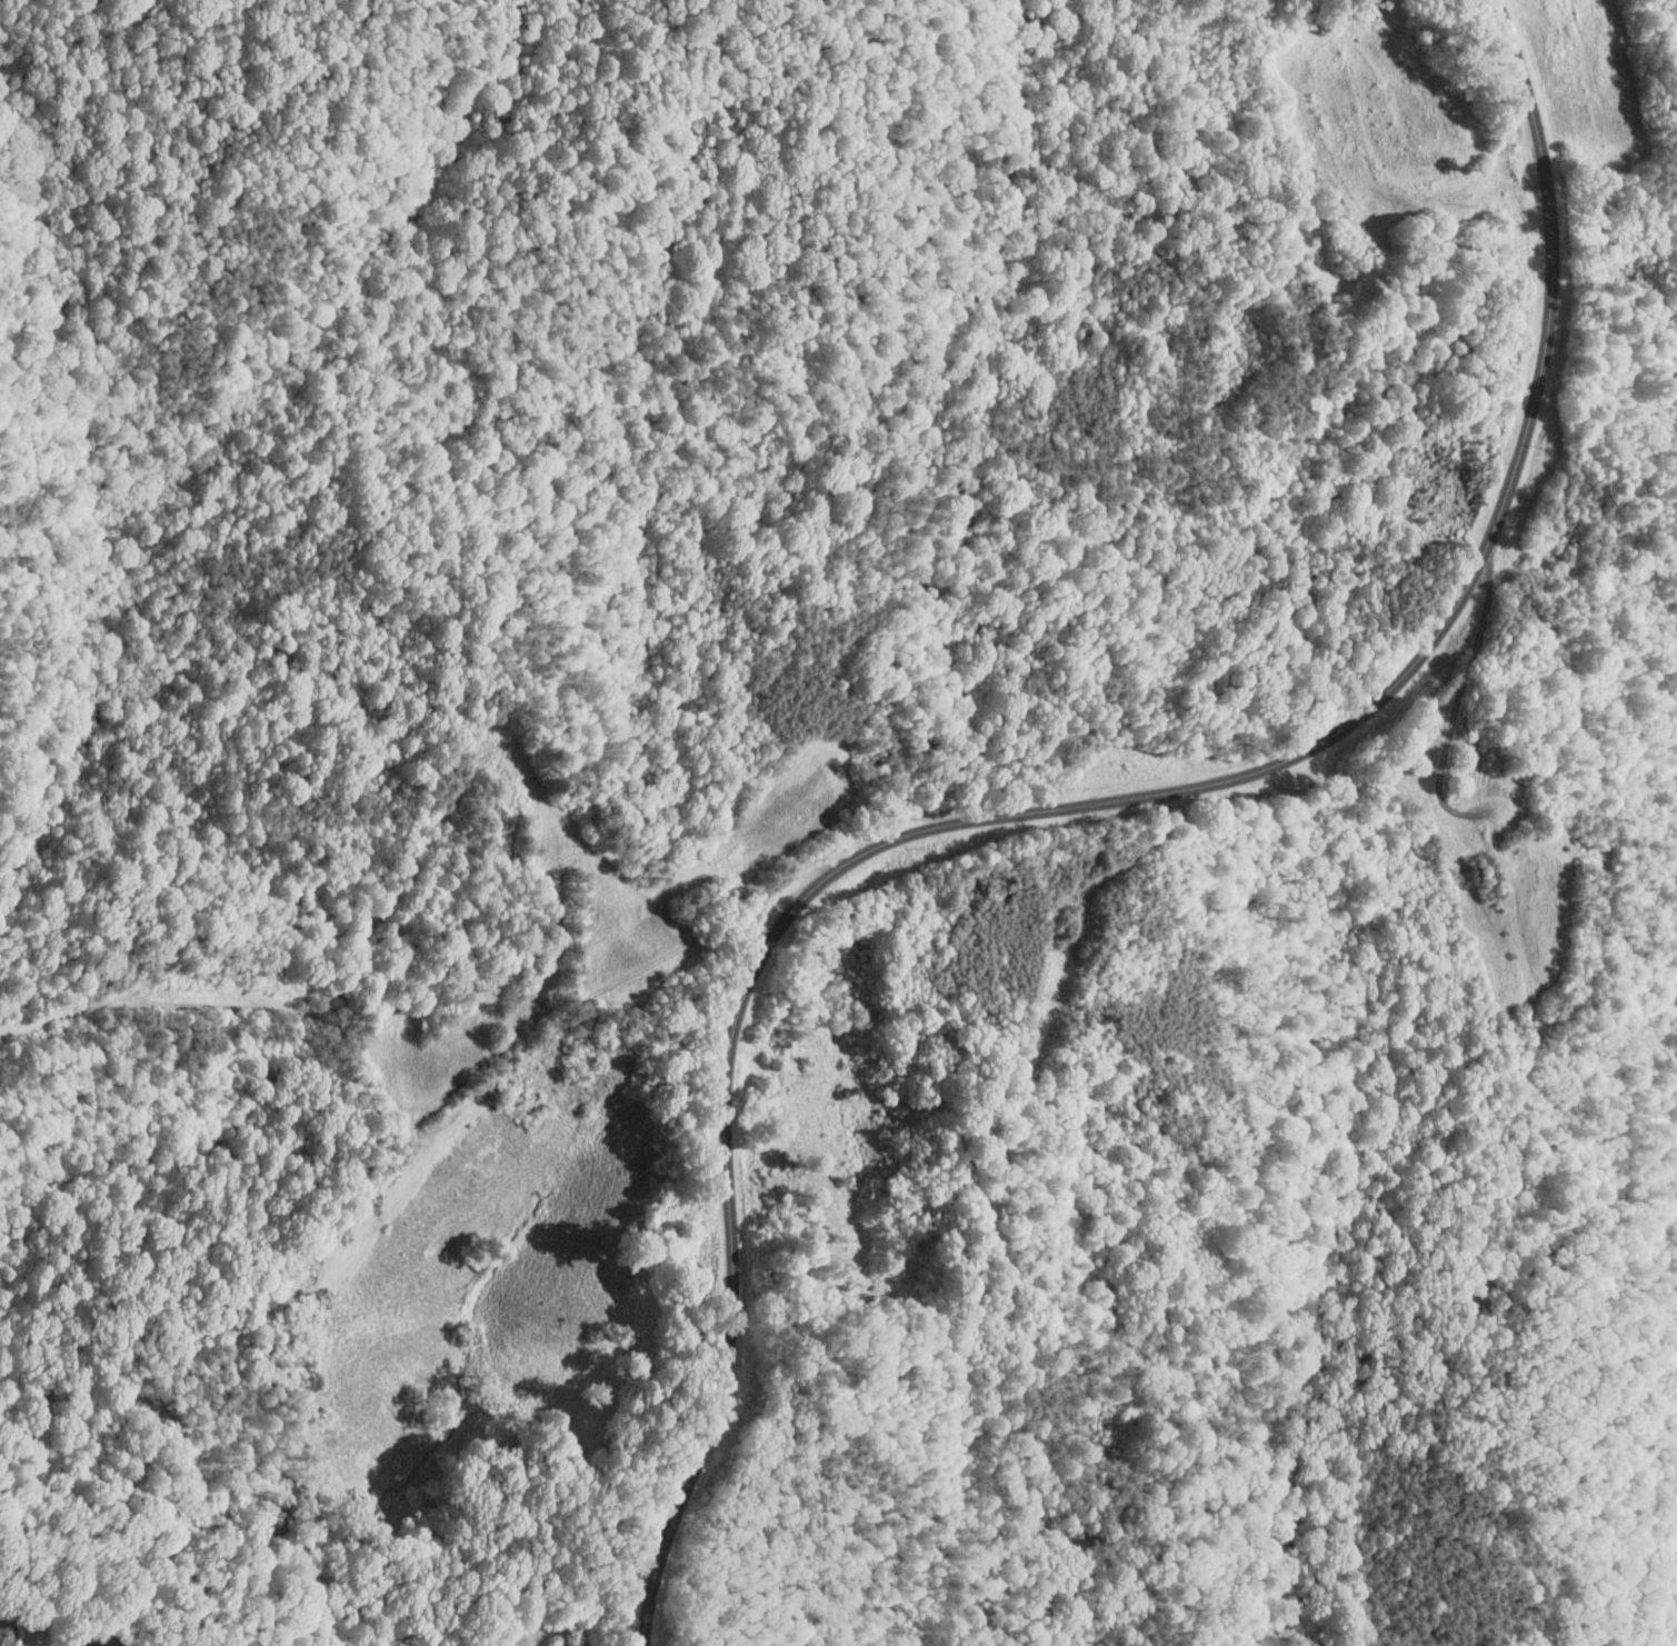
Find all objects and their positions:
road: (1080, 807)
road: (86, 1639)

